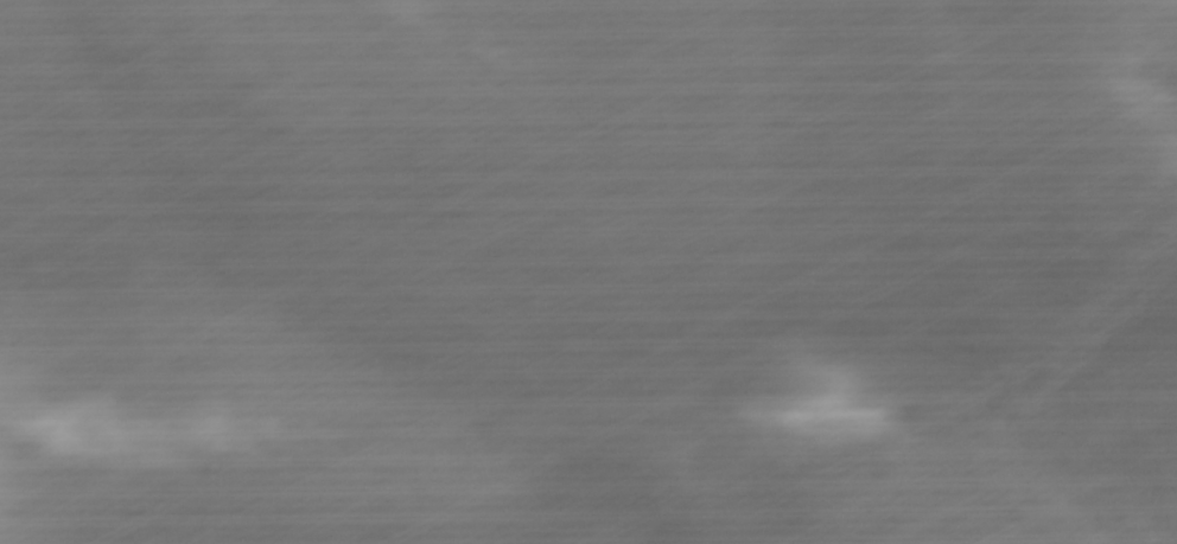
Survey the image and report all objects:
crop: (588, 271)

